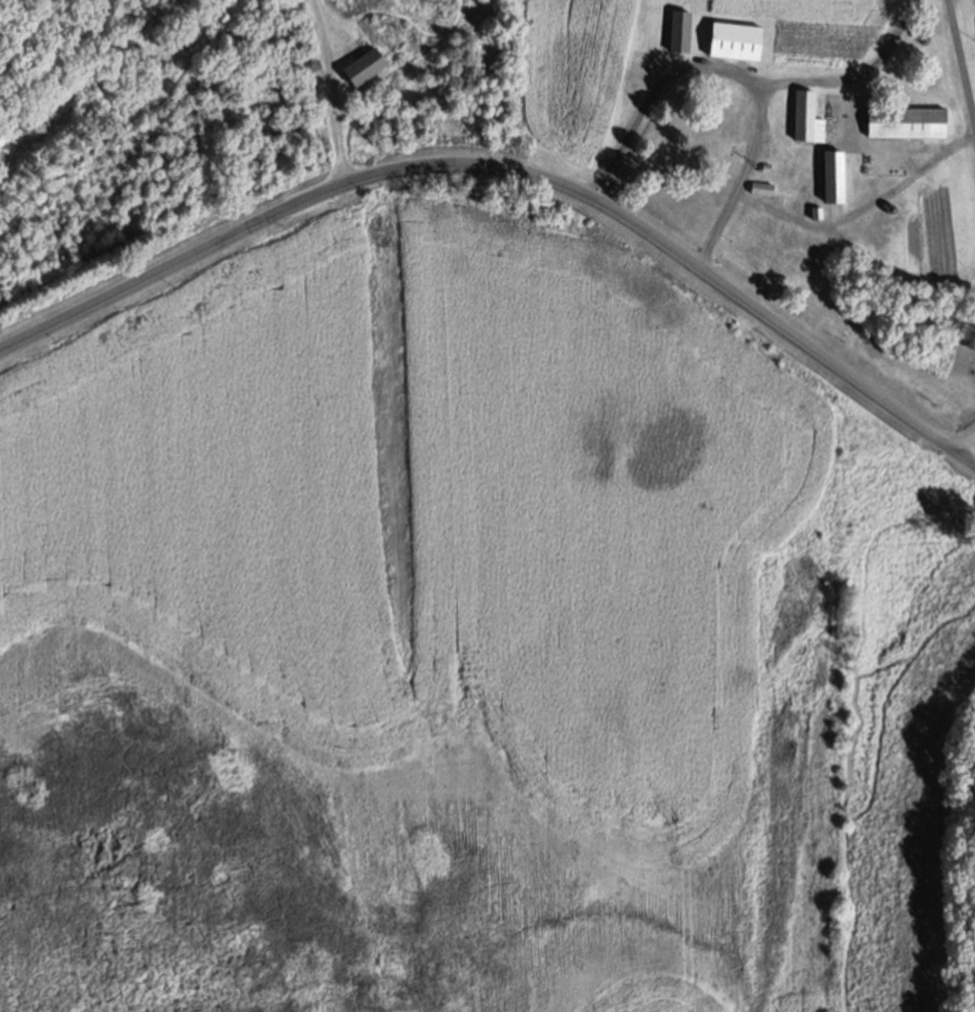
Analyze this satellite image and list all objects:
building: (679, 31)
building: (735, 40)
road: (961, 56)
building: (310, 63)
building: (365, 67)
road: (859, 73)
road: (745, 78)
road: (334, 91)
building: (358, 95)
building: (730, 101)
building: (805, 116)
building: (906, 122)
building: (724, 137)
road: (510, 170)
building: (832, 177)
building: (873, 182)
building: (761, 189)
building: (816, 213)
building: (875, 223)
building: (887, 227)
building: (834, 242)
road: (972, 455)
quarry: (973, 457)

